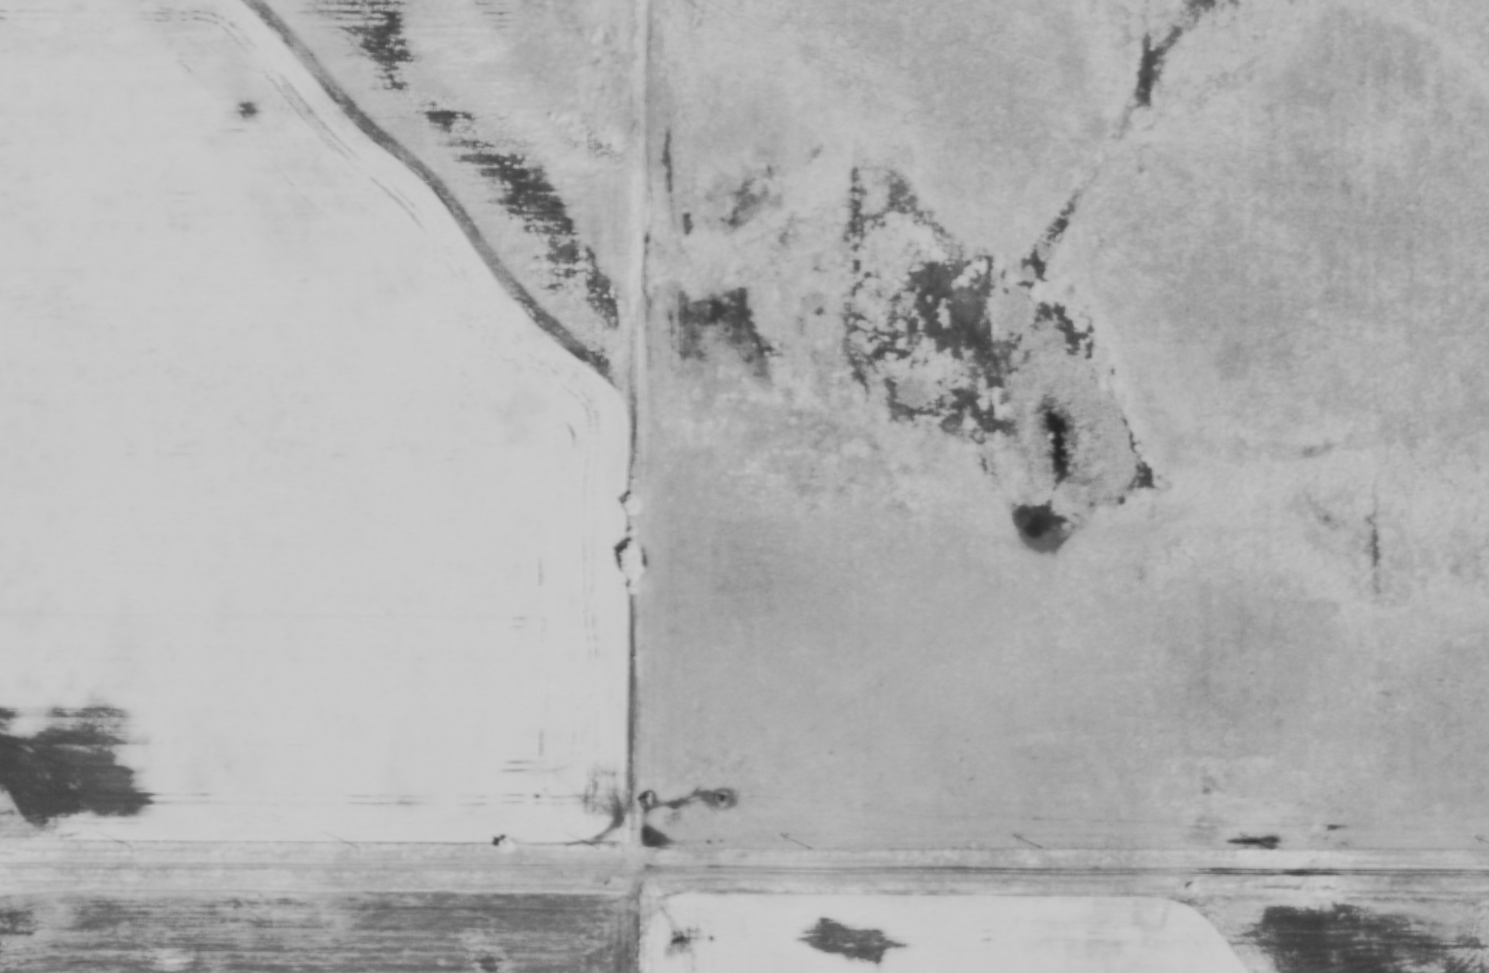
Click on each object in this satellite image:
road: (744, 867)
road: (635, 919)

